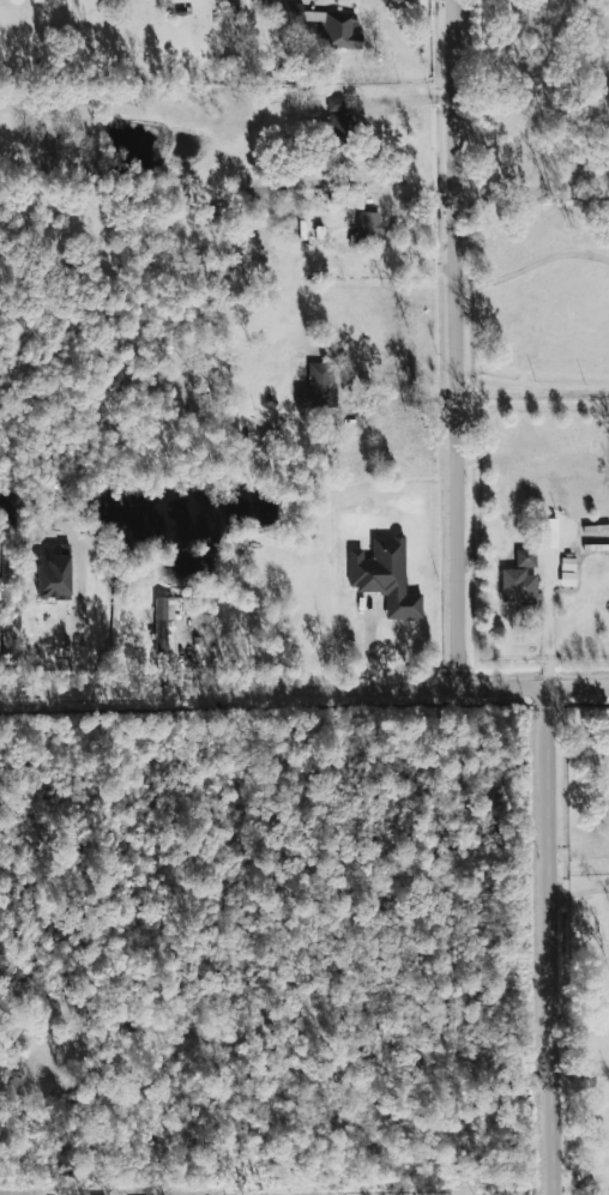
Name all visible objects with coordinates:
building: (321, 25)
building: (368, 227)
road: (533, 264)
road: (458, 343)
road: (533, 386)
building: (318, 387)
road: (406, 402)
building: (53, 577)
building: (384, 578)
building: (519, 578)
building: (162, 621)
road: (549, 621)
road: (303, 689)
building: (608, 815)
road: (579, 891)
road: (550, 940)
road: (583, 1177)

